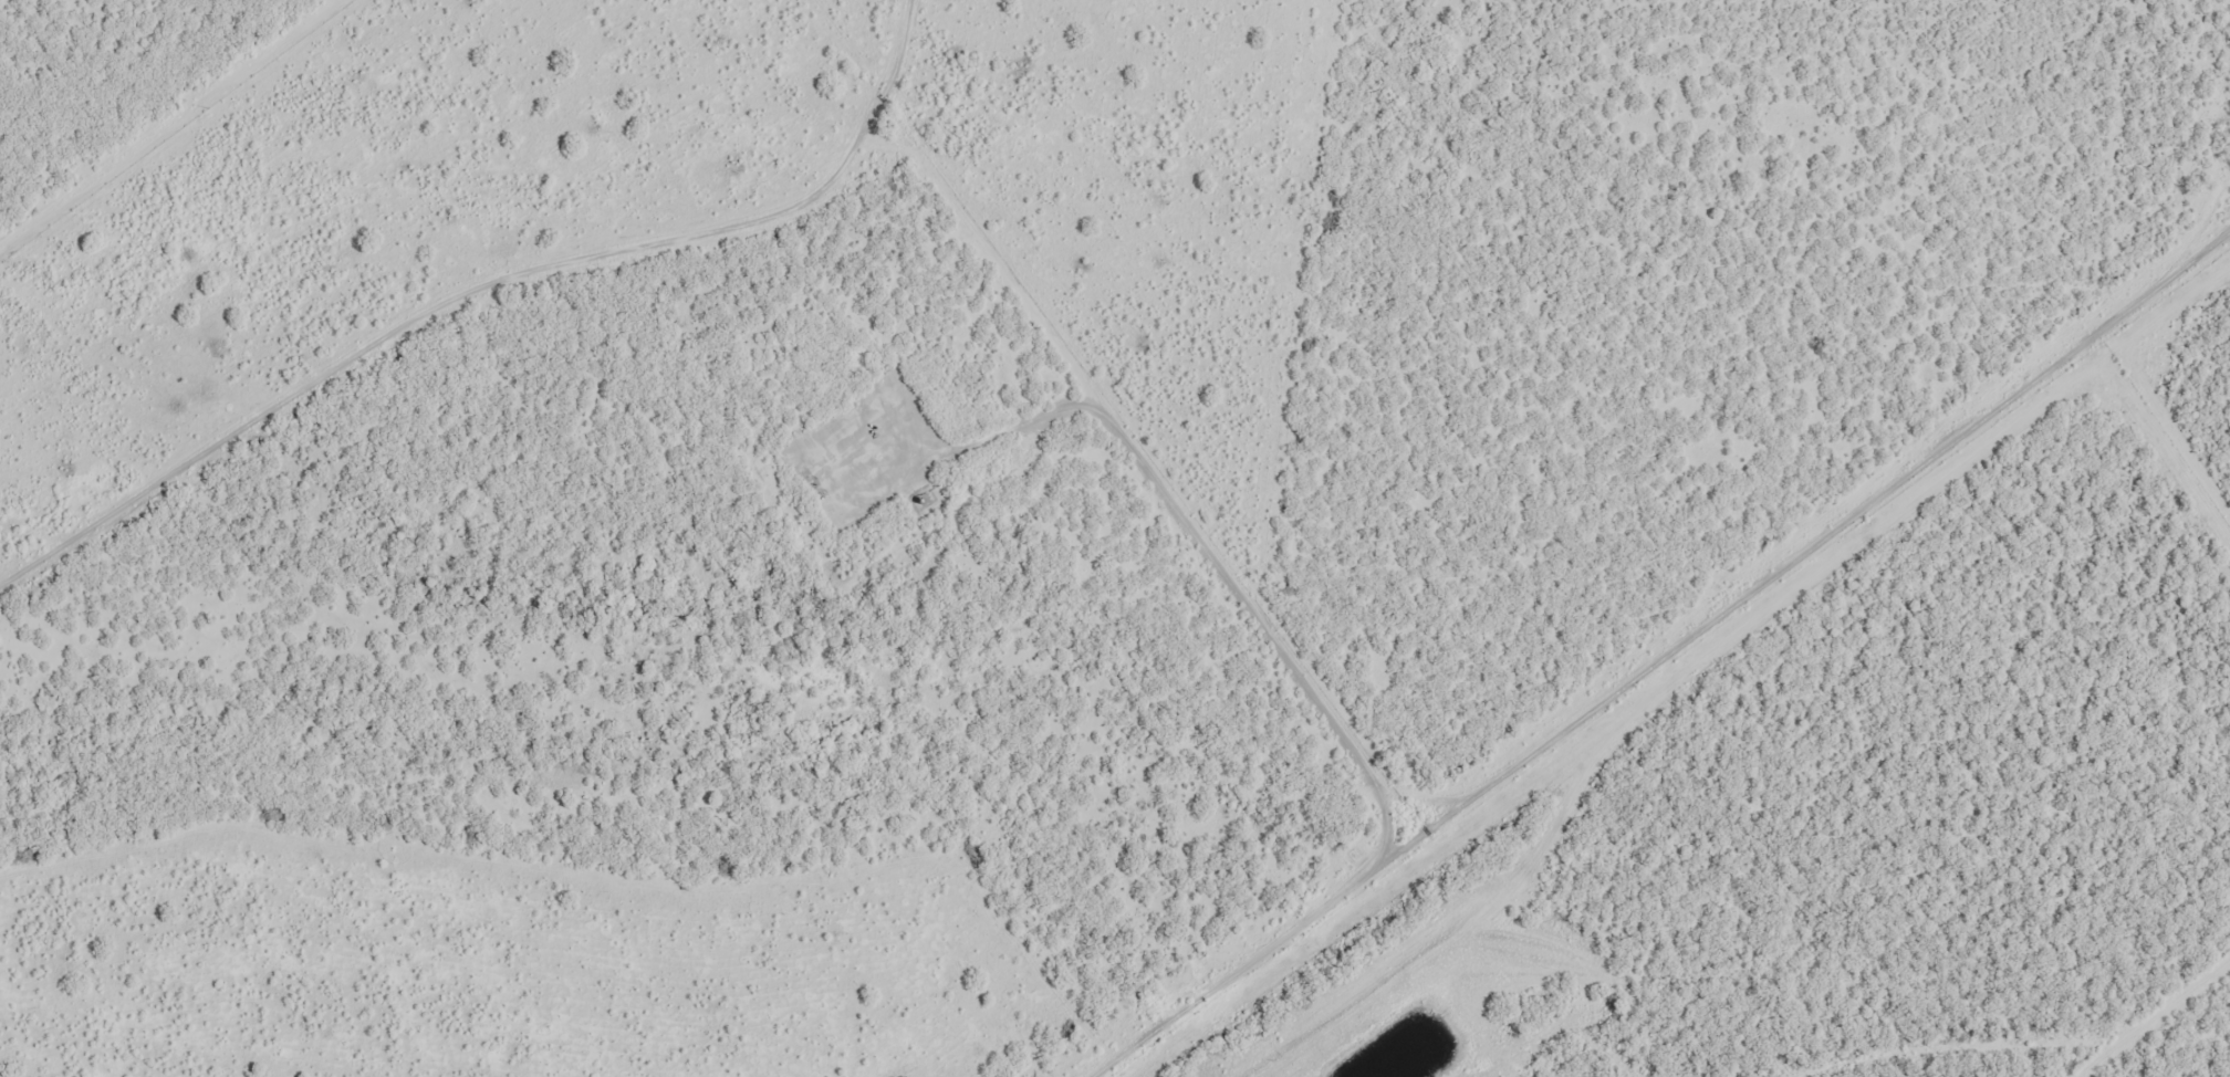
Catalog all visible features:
road: (204, 150)
road: (496, 281)

